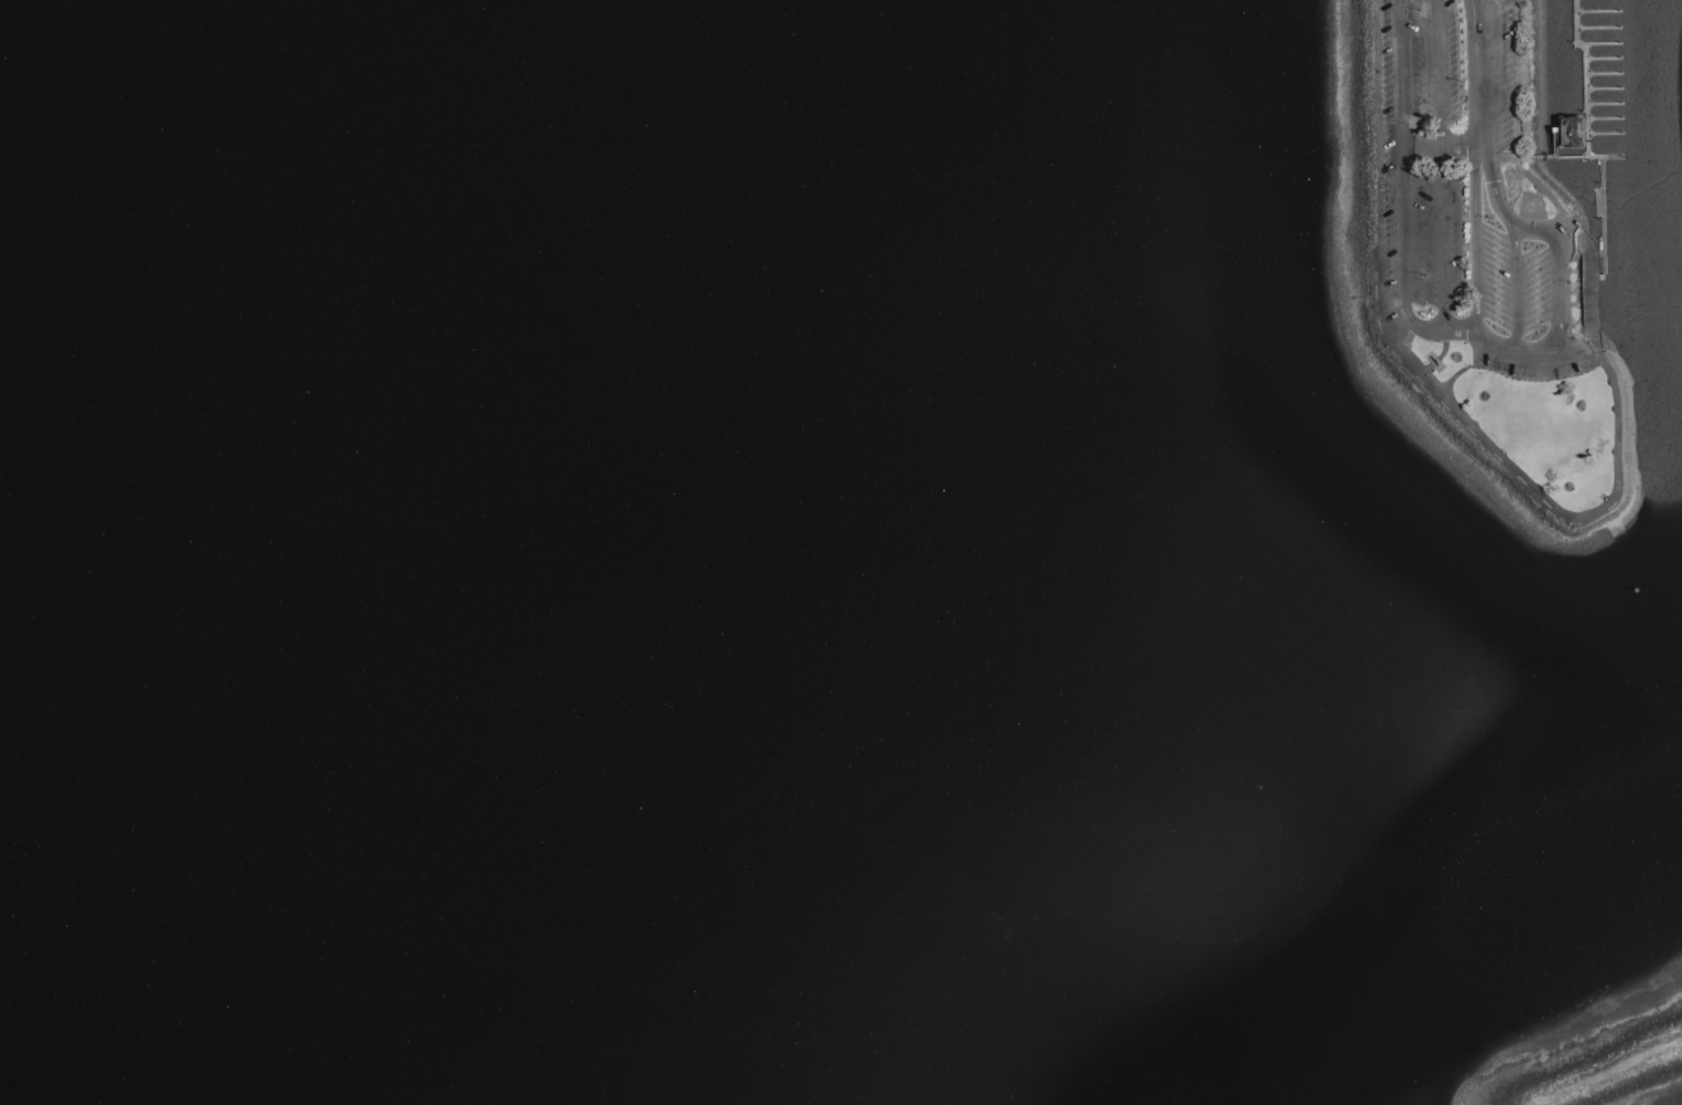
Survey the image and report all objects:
road: (1400, 74)
road: (1440, 75)
road: (1476, 75)
pier: (1588, 98)
building: (1572, 132)
road: (1440, 150)
pier: (1591, 158)
road: (1473, 240)
road: (1515, 252)
road: (1560, 274)
road: (1427, 327)
road: (1496, 354)
road: (1463, 371)
road: (1561, 513)

